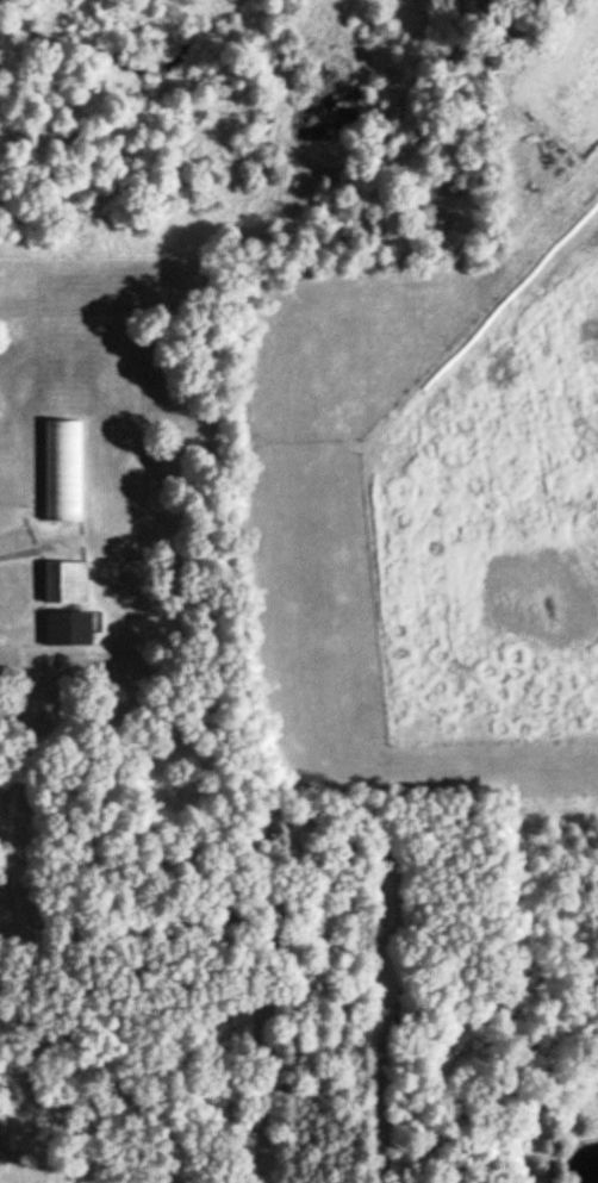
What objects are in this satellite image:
building: (63, 469)
road: (39, 556)
building: (67, 581)
building: (69, 628)

